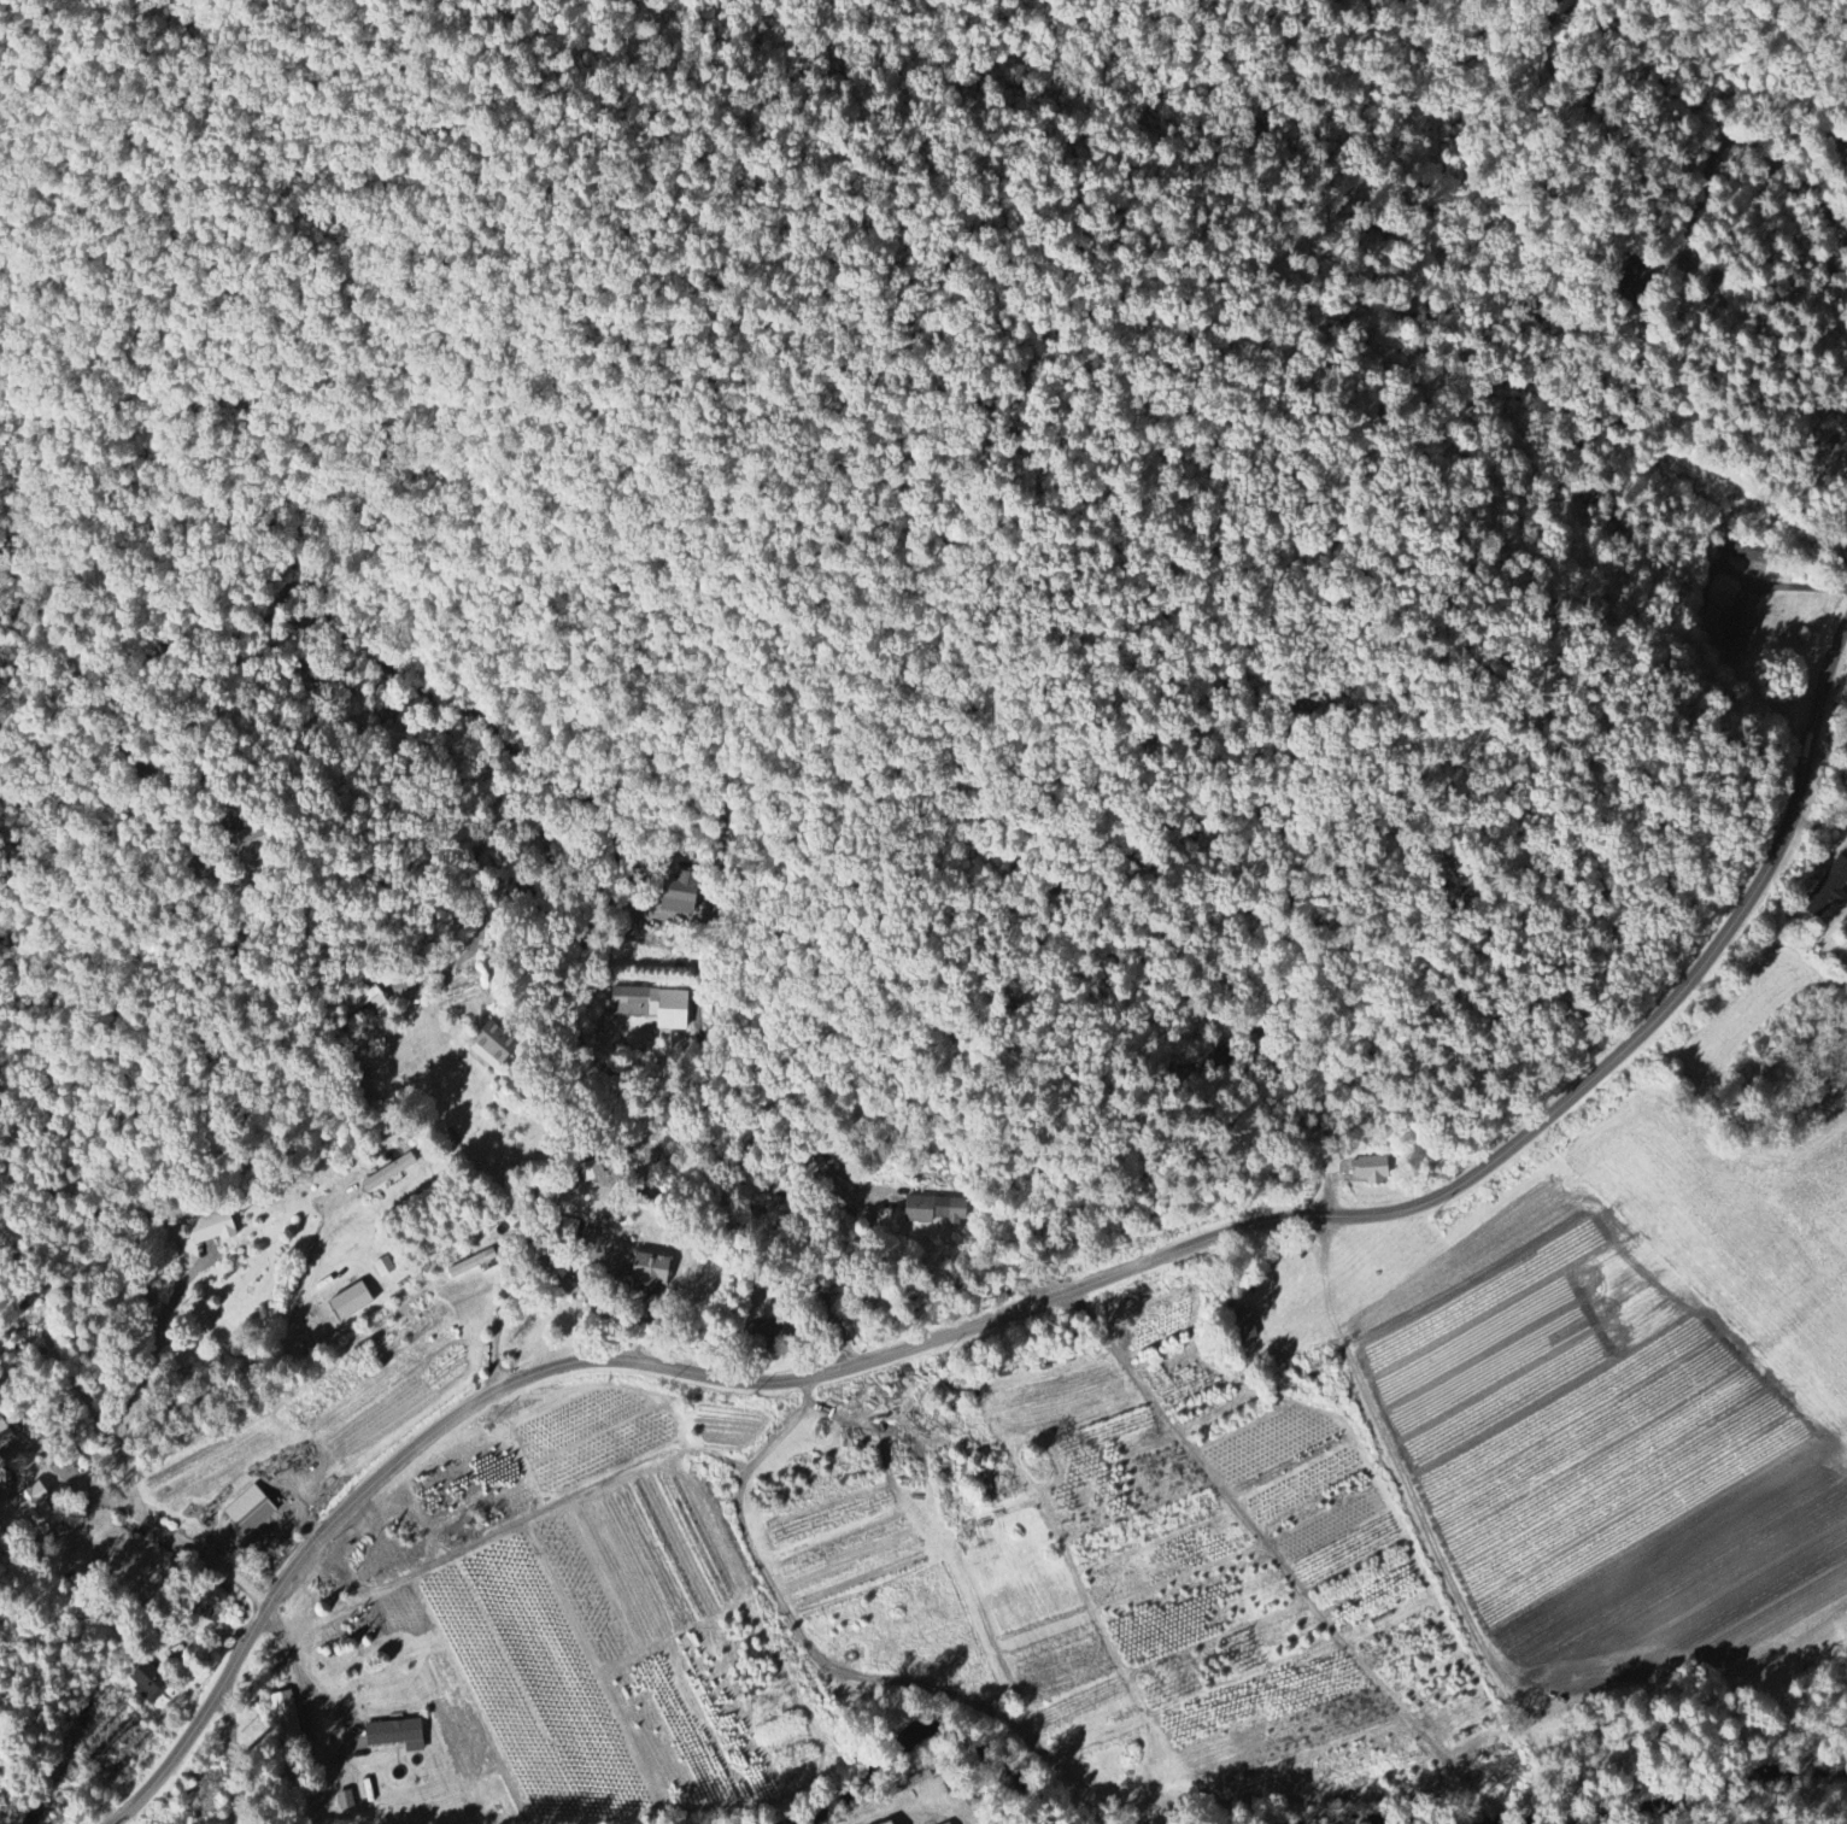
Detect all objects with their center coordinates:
road: (1641, 123)
road: (1779, 585)
building: (1742, 621)
road: (541, 781)
building: (1829, 888)
building: (1372, 1169)
building: (921, 1214)
building: (216, 1231)
building: (563, 1231)
building: (386, 1266)
building: (652, 1271)
road: (515, 1288)
building: (353, 1301)
road: (1036, 1301)
building: (1248, 1324)
road: (276, 1349)
building: (5, 1436)
road: (80, 1482)
road: (137, 1500)
building: (37, 1509)
building: (251, 1511)
road: (1419, 1523)
building: (148, 1683)
building: (288, 1720)
building: (398, 1735)
road: (313, 1744)
road: (234, 1758)
river: (850, 1761)
river: (1564, 1800)
building: (346, 1801)
building: (895, 1823)
building: (950, 1823)

